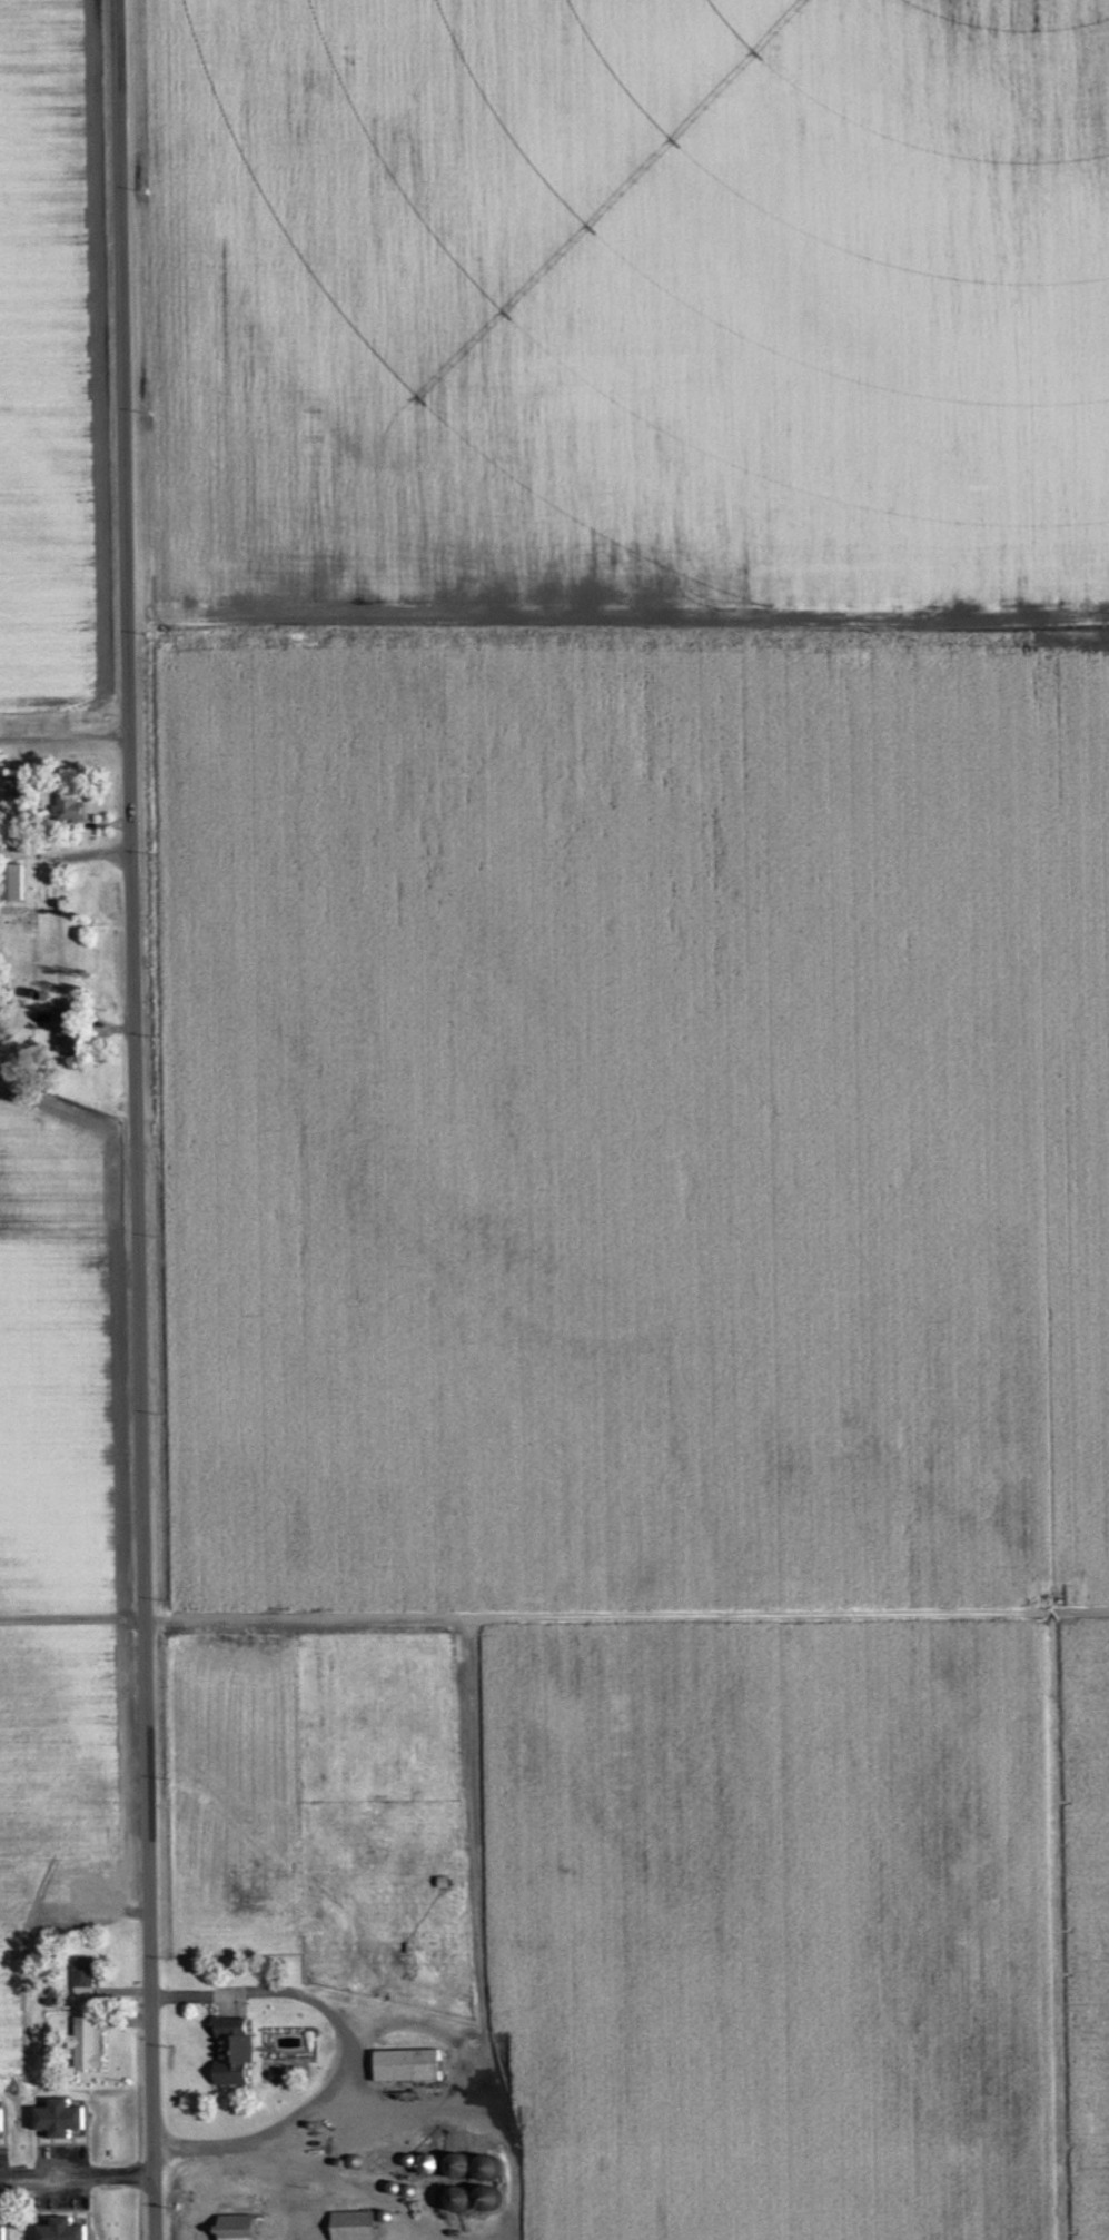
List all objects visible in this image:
building: (67, 809)
building: (11, 883)
road: (136, 1120)
building: (83, 1972)
building: (86, 2043)
building: (231, 2059)
road: (350, 2063)
building: (404, 2065)
building: (56, 2119)
building: (1, 2120)
road: (77, 2174)
building: (350, 2226)
building: (234, 2228)
building: (60, 2230)
building: (1, 2233)

